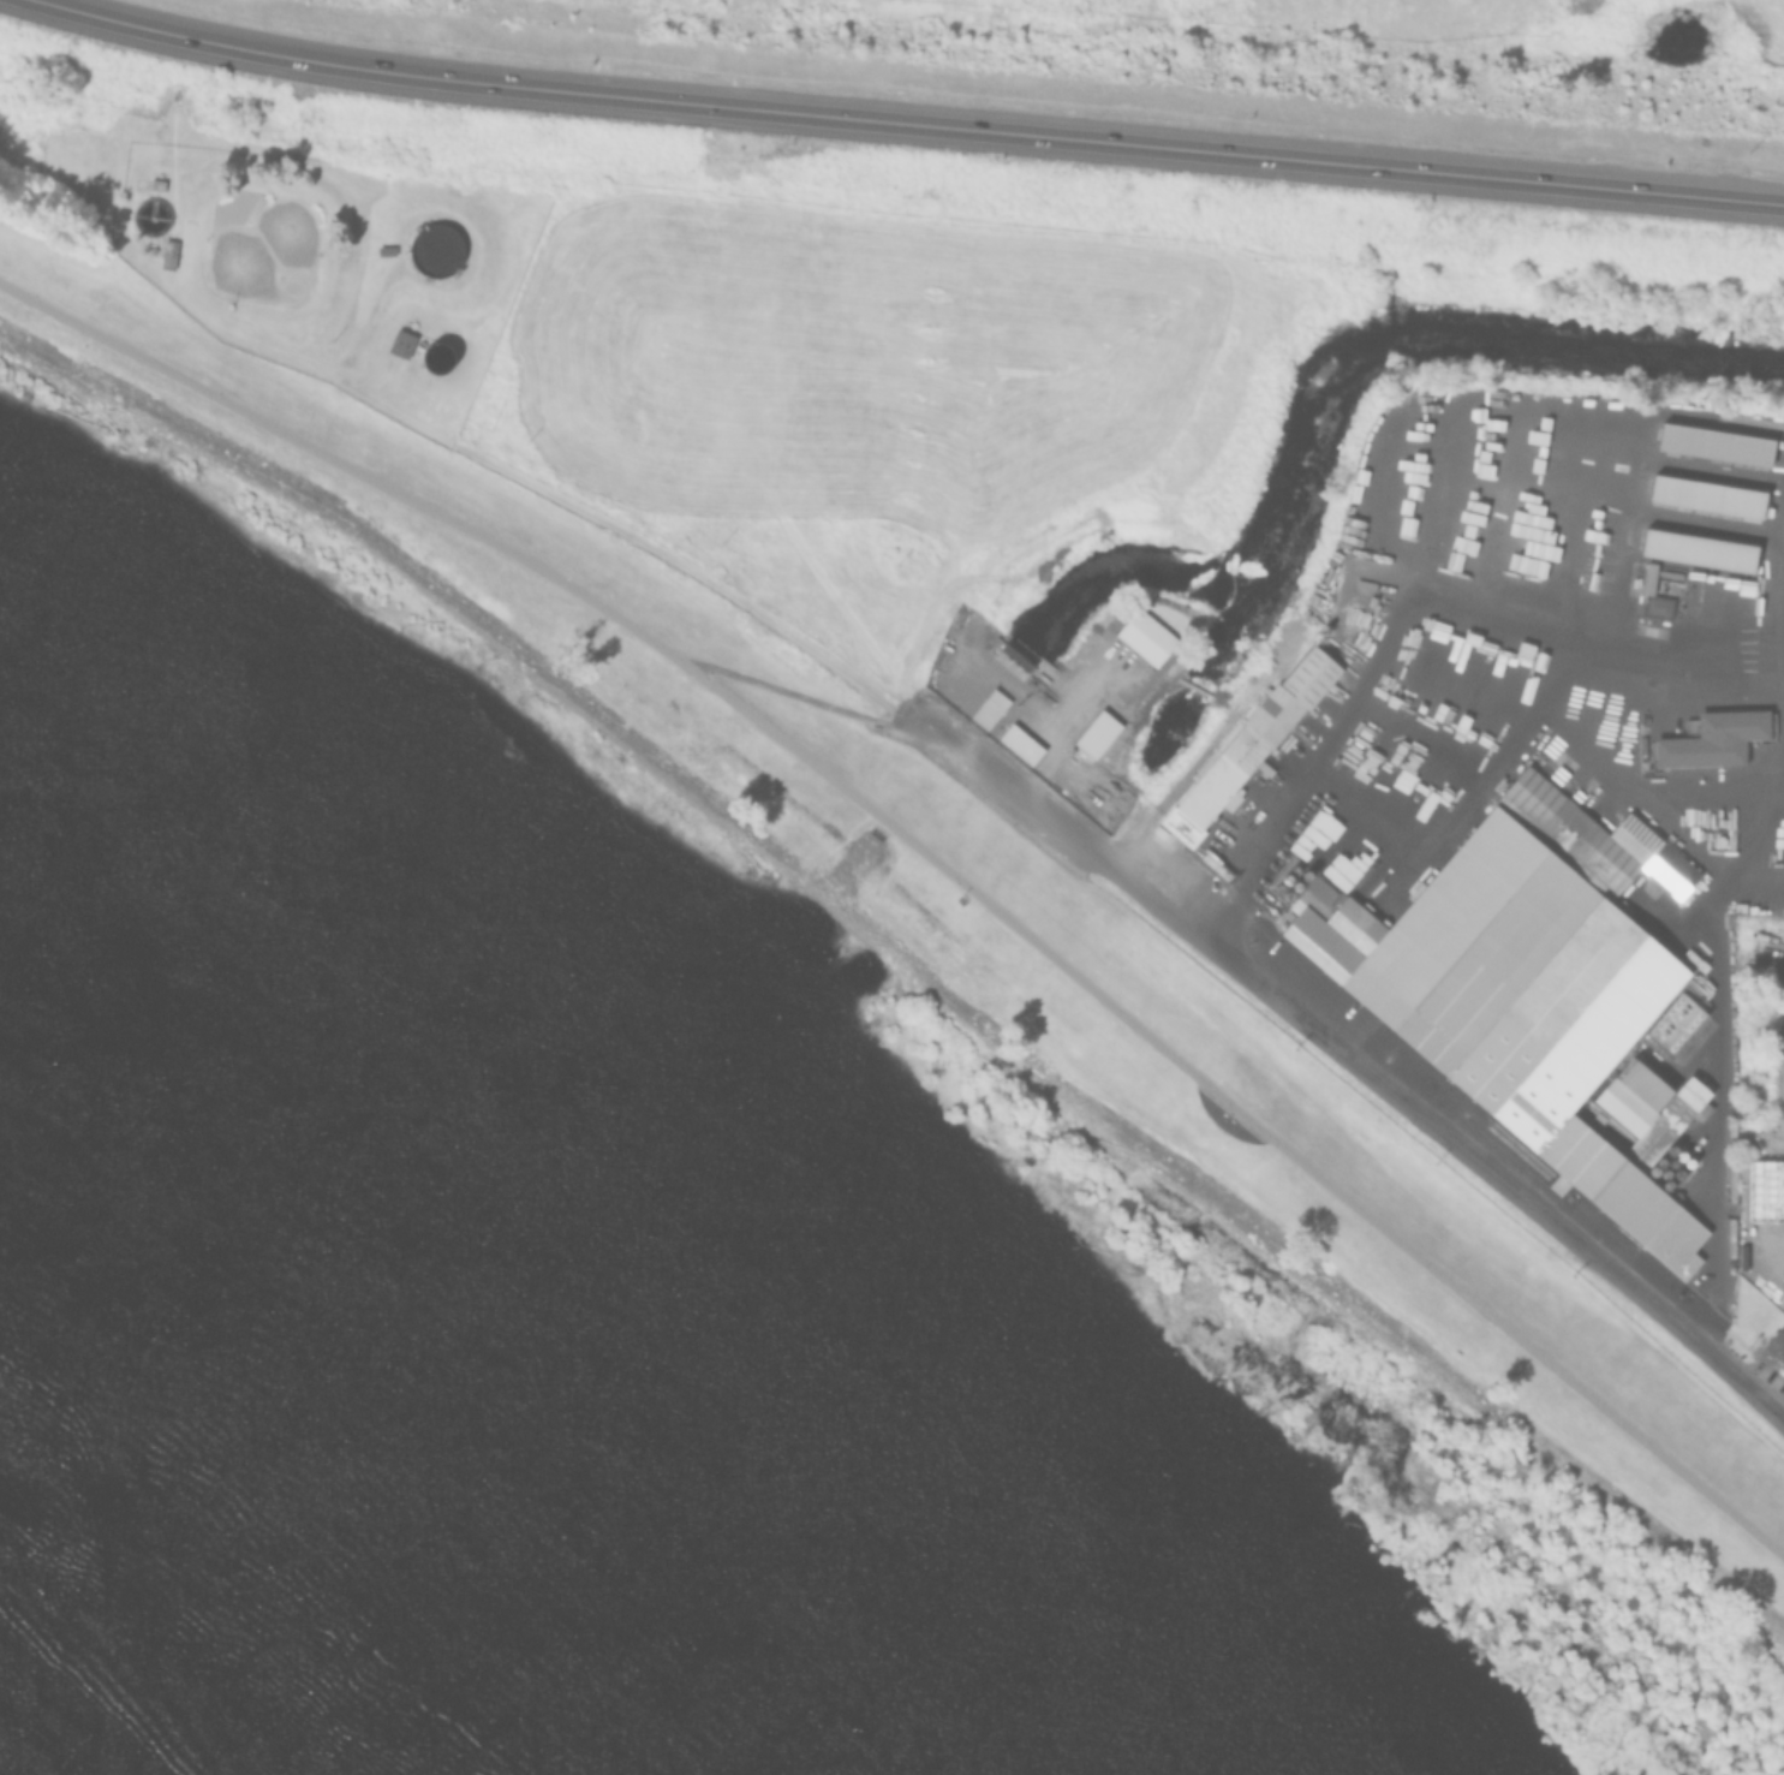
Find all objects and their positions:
road: (905, 125)
building: (155, 181)
building: (384, 248)
building: (167, 251)
road: (1406, 598)
building: (1147, 641)
building: (1013, 663)
building: (1313, 679)
road: (793, 693)
building: (990, 710)
building: (1276, 717)
building: (1711, 739)
building: (1020, 745)
building: (1223, 779)
building: (1182, 829)
road: (931, 859)
building: (1540, 997)
road: (1719, 1036)
road: (1353, 1062)
road: (1776, 1155)
park: (1279, 1239)

